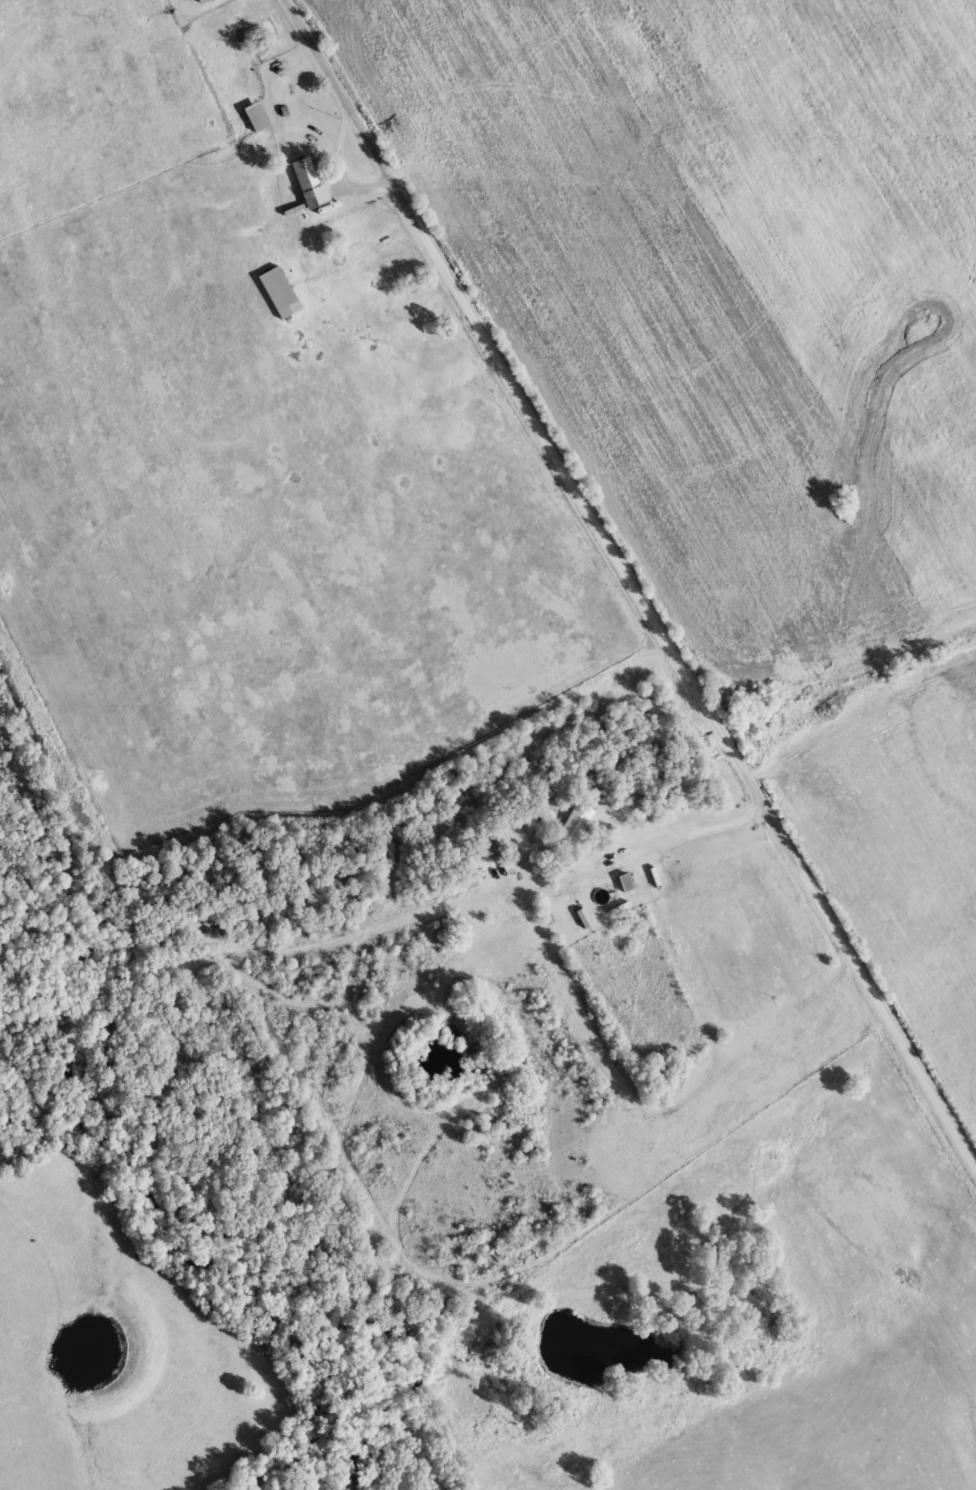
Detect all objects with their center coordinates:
building: (206, 1)
building: (258, 45)
building: (254, 116)
road: (317, 121)
building: (306, 181)
building: (277, 292)
road: (633, 578)
building: (573, 824)
road: (697, 829)
building: (485, 848)
building: (623, 883)

